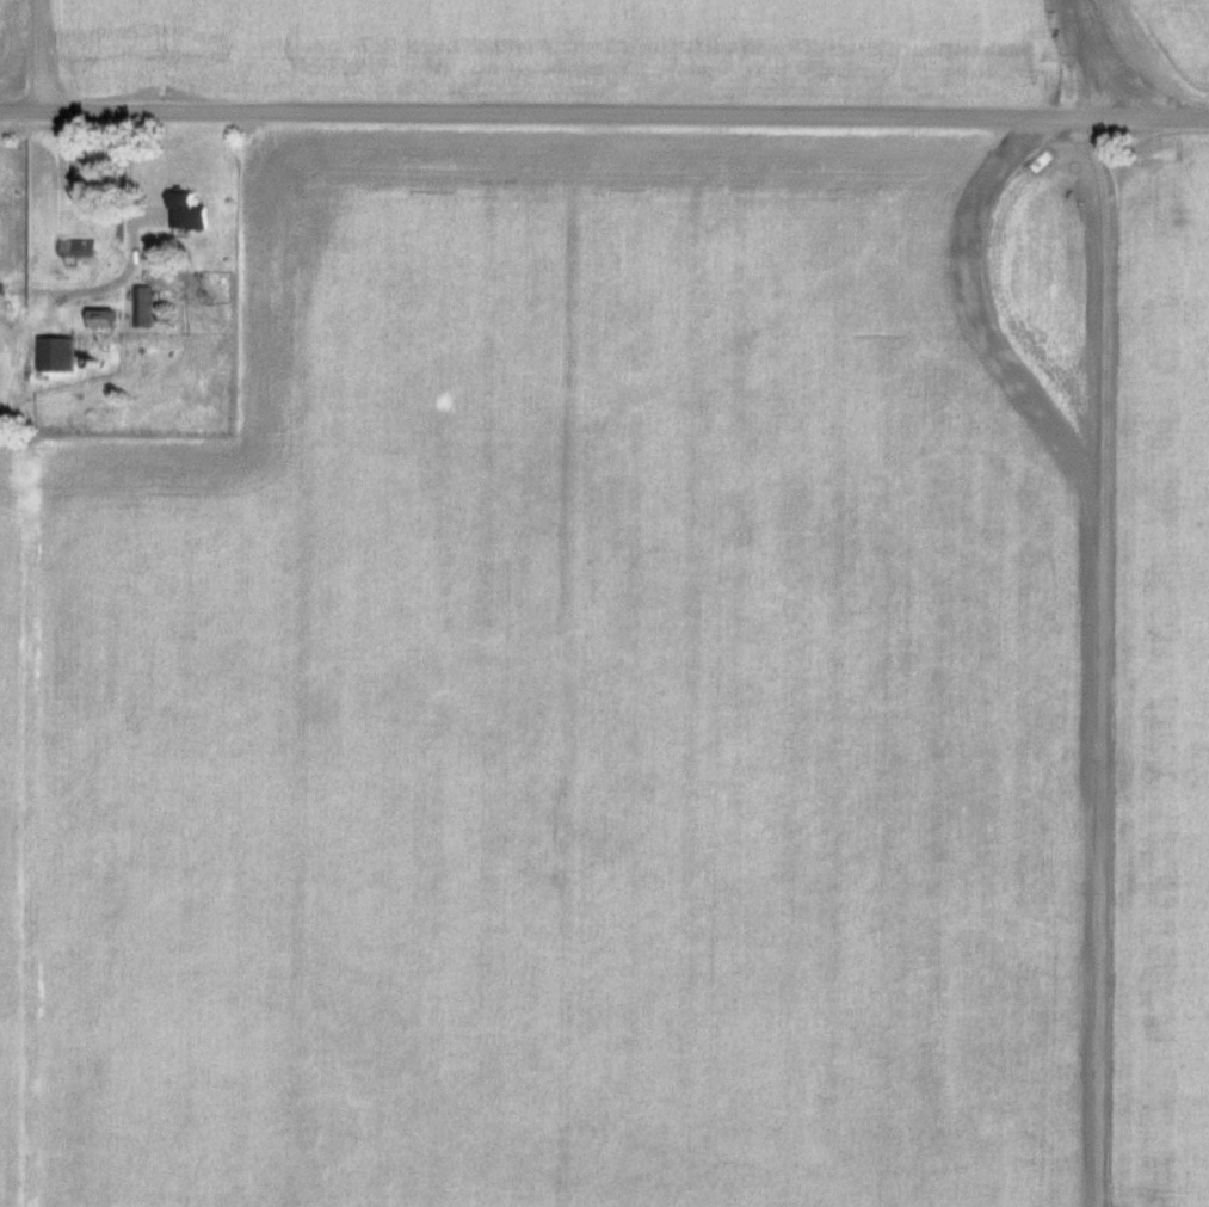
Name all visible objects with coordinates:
road: (39, 54)
road: (1103, 58)
road: (604, 111)
building: (186, 210)
building: (74, 246)
building: (142, 306)
building: (101, 318)
building: (56, 353)
road: (1093, 661)

